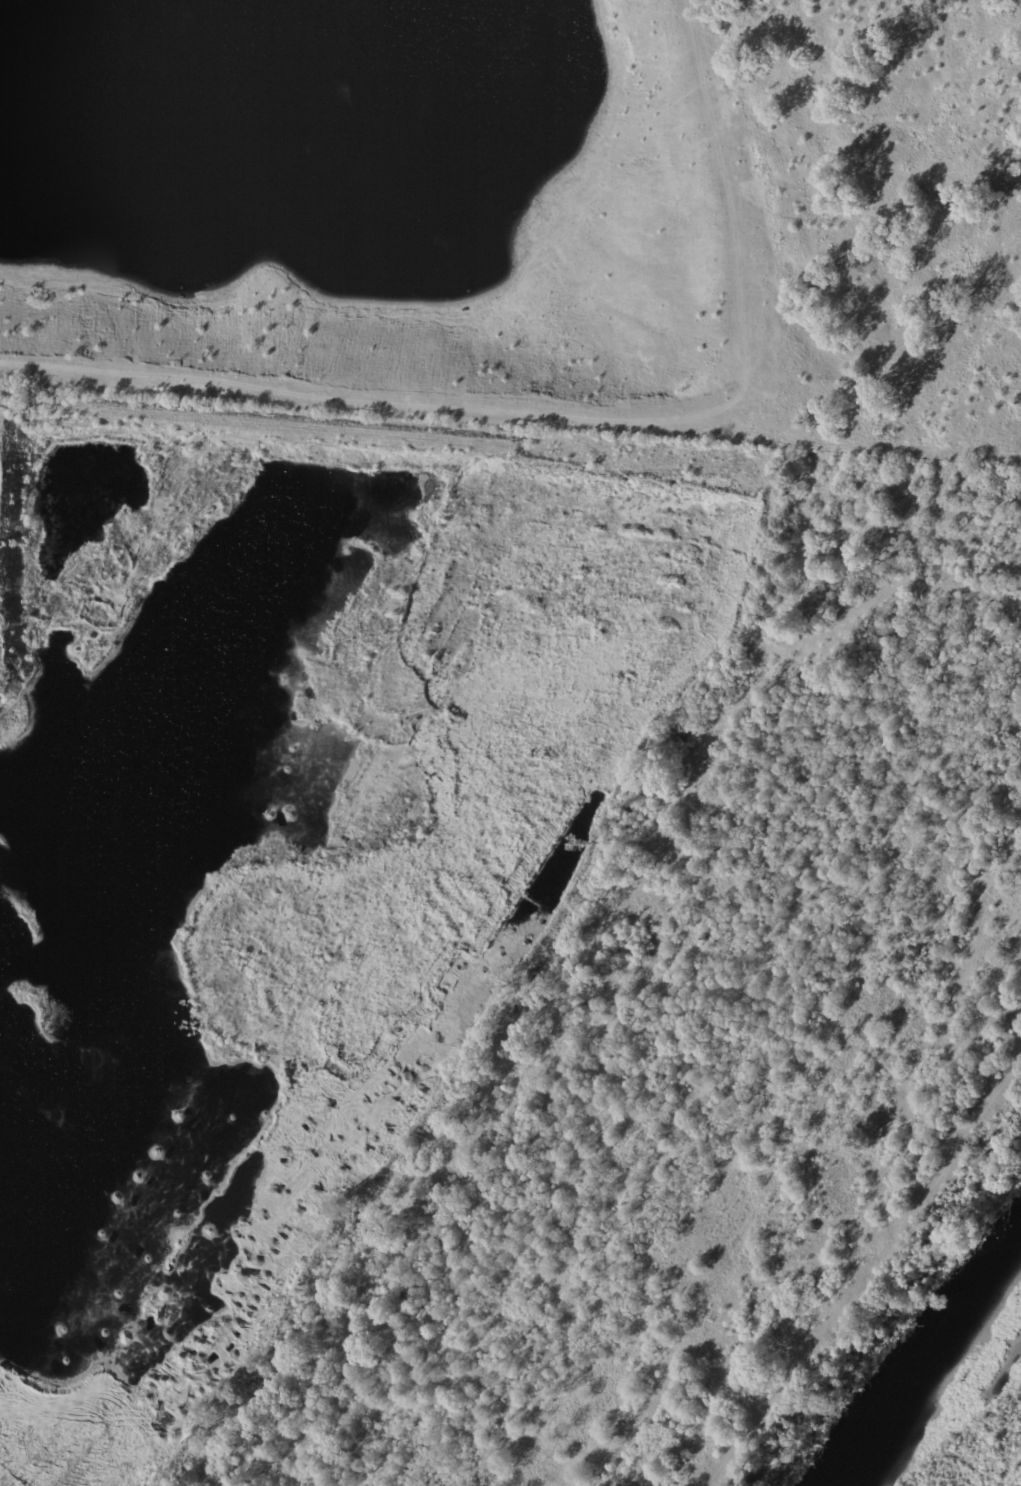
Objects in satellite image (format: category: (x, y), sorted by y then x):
quarry: (397, 209)
road: (570, 420)
river: (918, 1357)

